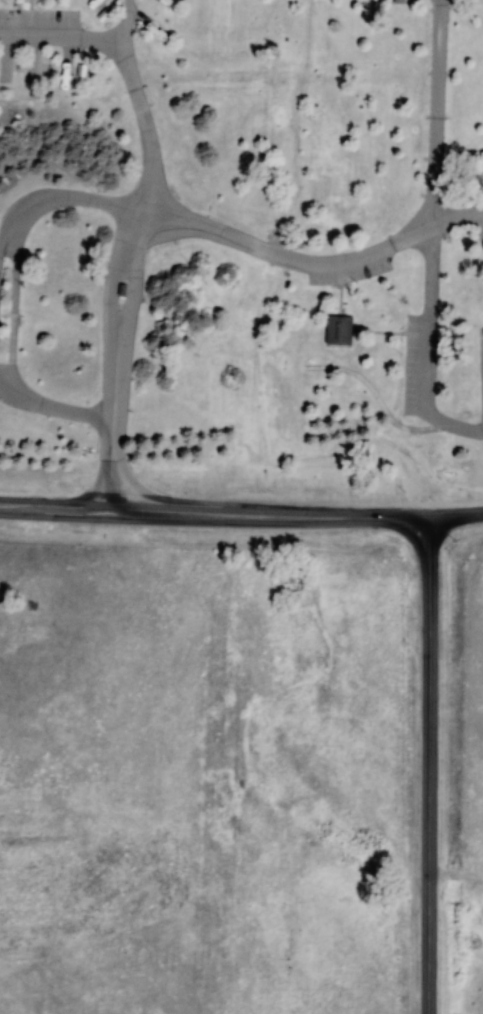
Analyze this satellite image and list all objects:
road: (125, 21)
road: (58, 39)
road: (17, 157)
road: (81, 179)
road: (68, 196)
road: (430, 235)
road: (4, 239)
park: (242, 255)
road: (314, 262)
road: (124, 271)
road: (12, 309)
building: (337, 330)
parking lot: (416, 364)
parking lot: (480, 378)
road: (387, 395)
road: (52, 408)
road: (241, 514)
road: (430, 764)

